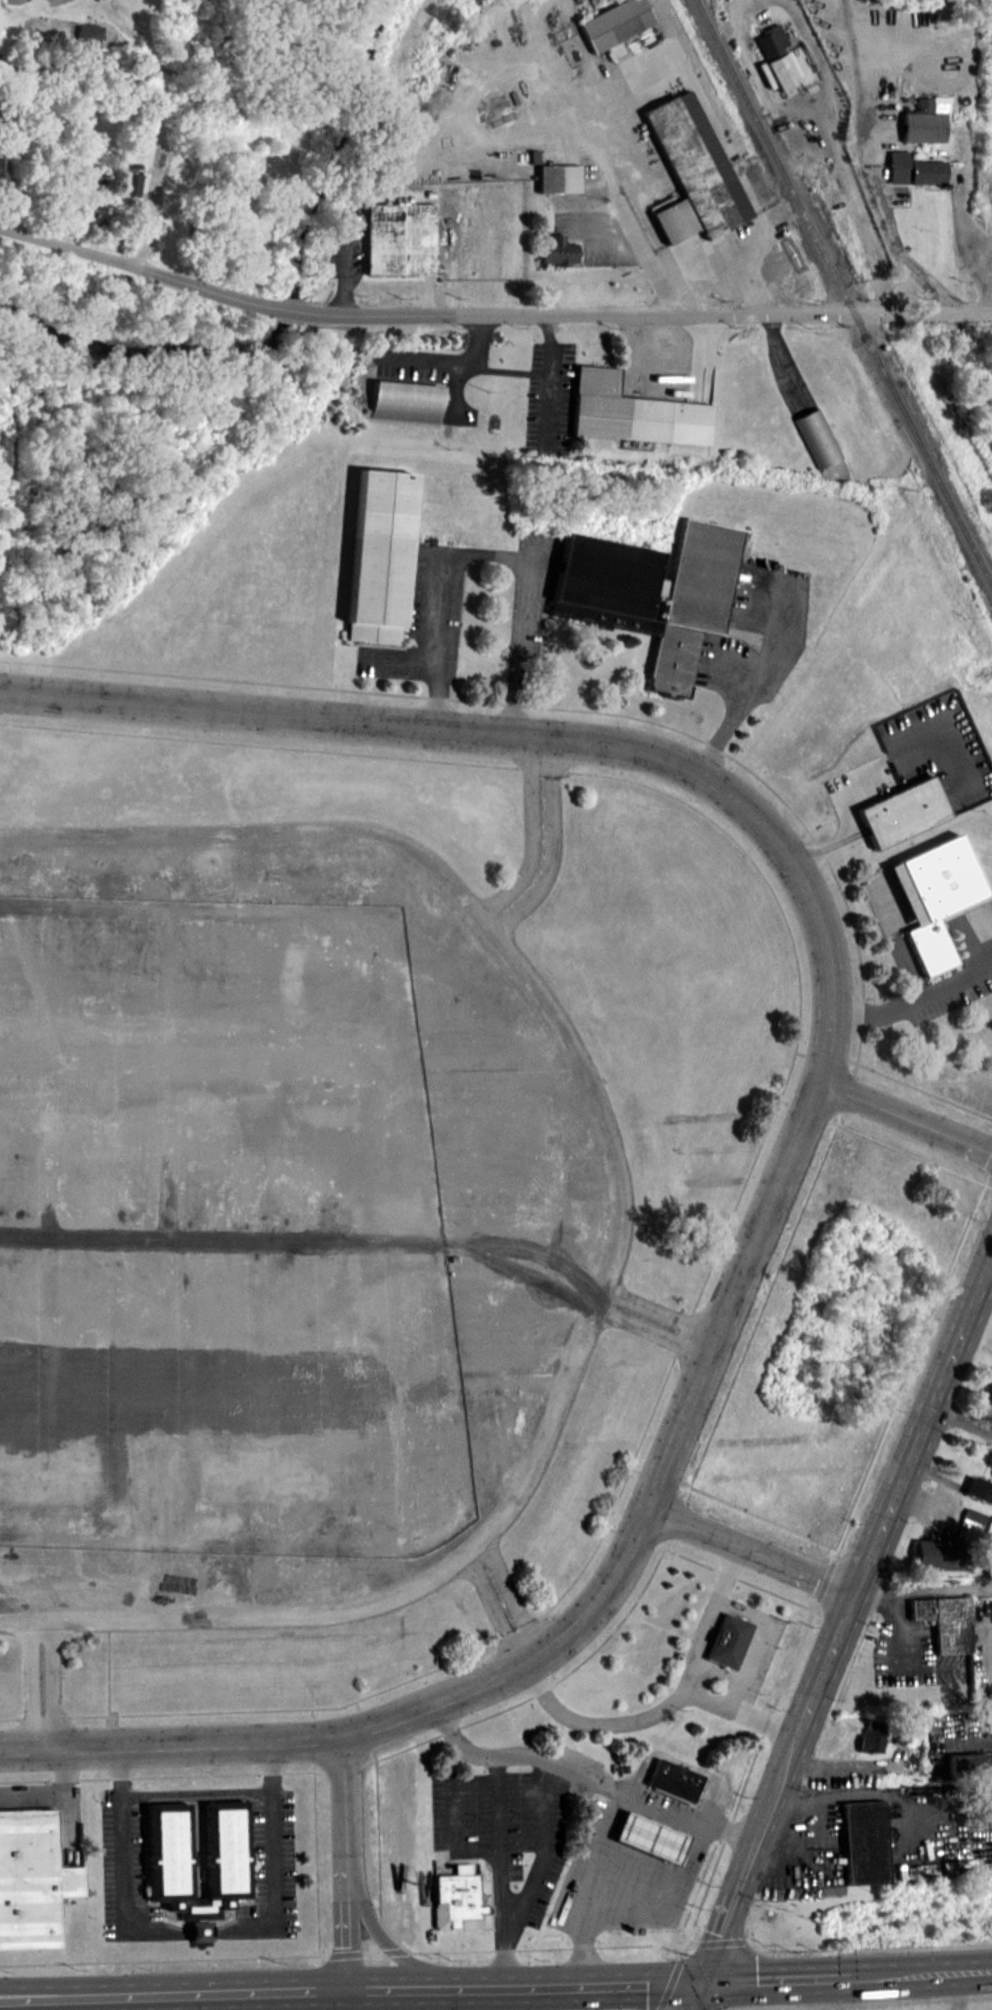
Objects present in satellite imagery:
building: (614, 22)
building: (90, 33)
building: (770, 39)
road: (814, 48)
building: (782, 70)
road: (755, 72)
building: (922, 122)
road: (163, 135)
building: (2, 169)
building: (913, 169)
building: (692, 171)
building: (559, 178)
road: (607, 181)
building: (131, 183)
road: (856, 206)
building: (88, 211)
building: (400, 238)
road: (964, 241)
building: (559, 251)
road: (900, 253)
road: (129, 266)
road: (725, 268)
railway: (844, 293)
road: (283, 309)
road: (650, 314)
building: (406, 401)
building: (634, 411)
building: (817, 436)
road: (485, 552)
building: (376, 555)
building: (649, 591)
road: (757, 679)
road: (362, 723)
building: (916, 806)
road: (529, 837)
road: (552, 848)
building: (934, 897)
road: (912, 997)
road: (905, 1117)
road: (620, 1219)
road: (662, 1310)
road: (721, 1323)
road: (654, 1330)
road: (963, 1421)
road: (753, 1551)
road: (729, 1571)
road: (937, 1589)
road: (509, 1596)
road: (492, 1610)
road: (896, 1620)
building: (945, 1620)
road: (840, 1638)
building: (728, 1640)
road: (754, 1641)
road: (699, 1642)
road: (30, 1684)
road: (50, 1684)
road: (656, 1713)
road: (172, 1744)
building: (674, 1779)
road: (52, 1795)
road: (651, 1802)
road: (452, 1814)
road: (542, 1826)
road: (501, 1829)
building: (863, 1841)
building: (226, 1849)
road: (276, 1860)
road: (119, 1863)
road: (348, 1863)
building: (29, 1879)
road: (592, 1885)
road: (668, 1888)
road: (200, 1931)
road: (388, 1943)
road: (846, 1976)
traffic signals: (700, 1983)
road: (349, 1990)

